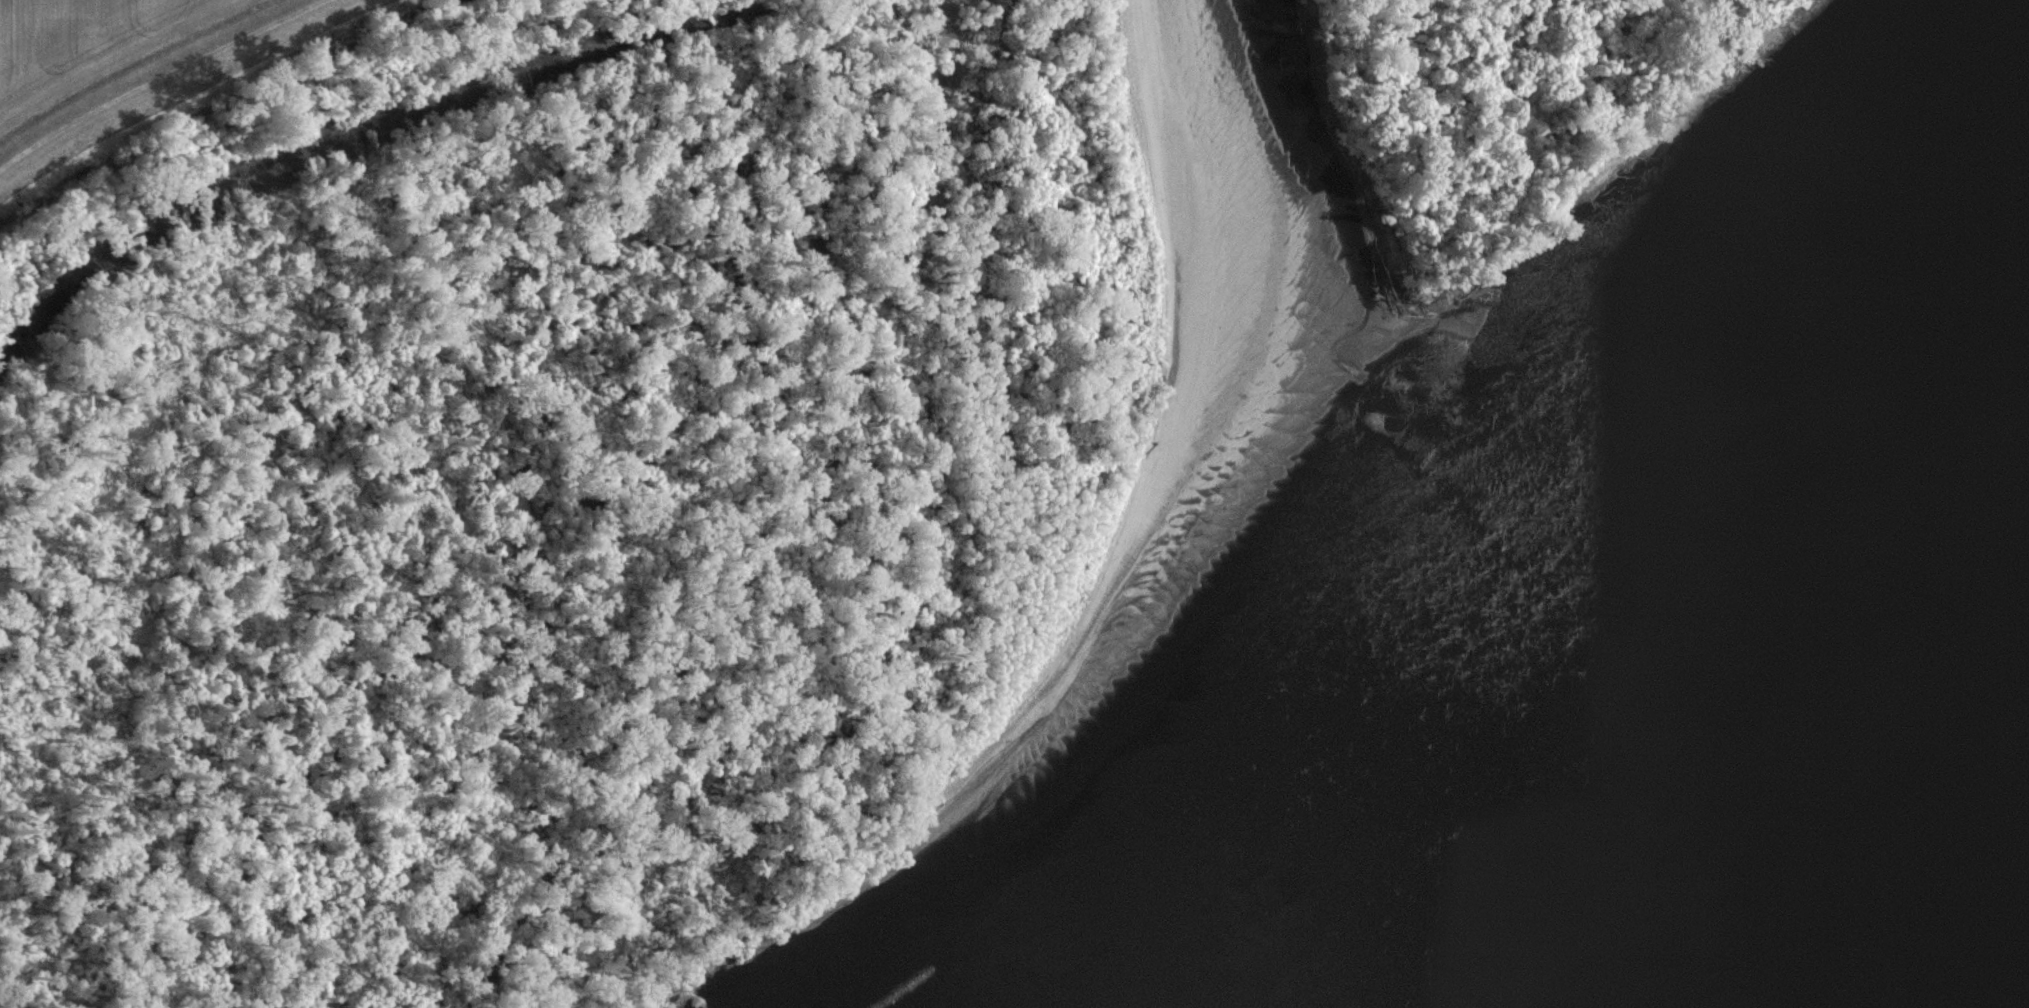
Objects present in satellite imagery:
road: (171, 75)
river: (1819, 840)

